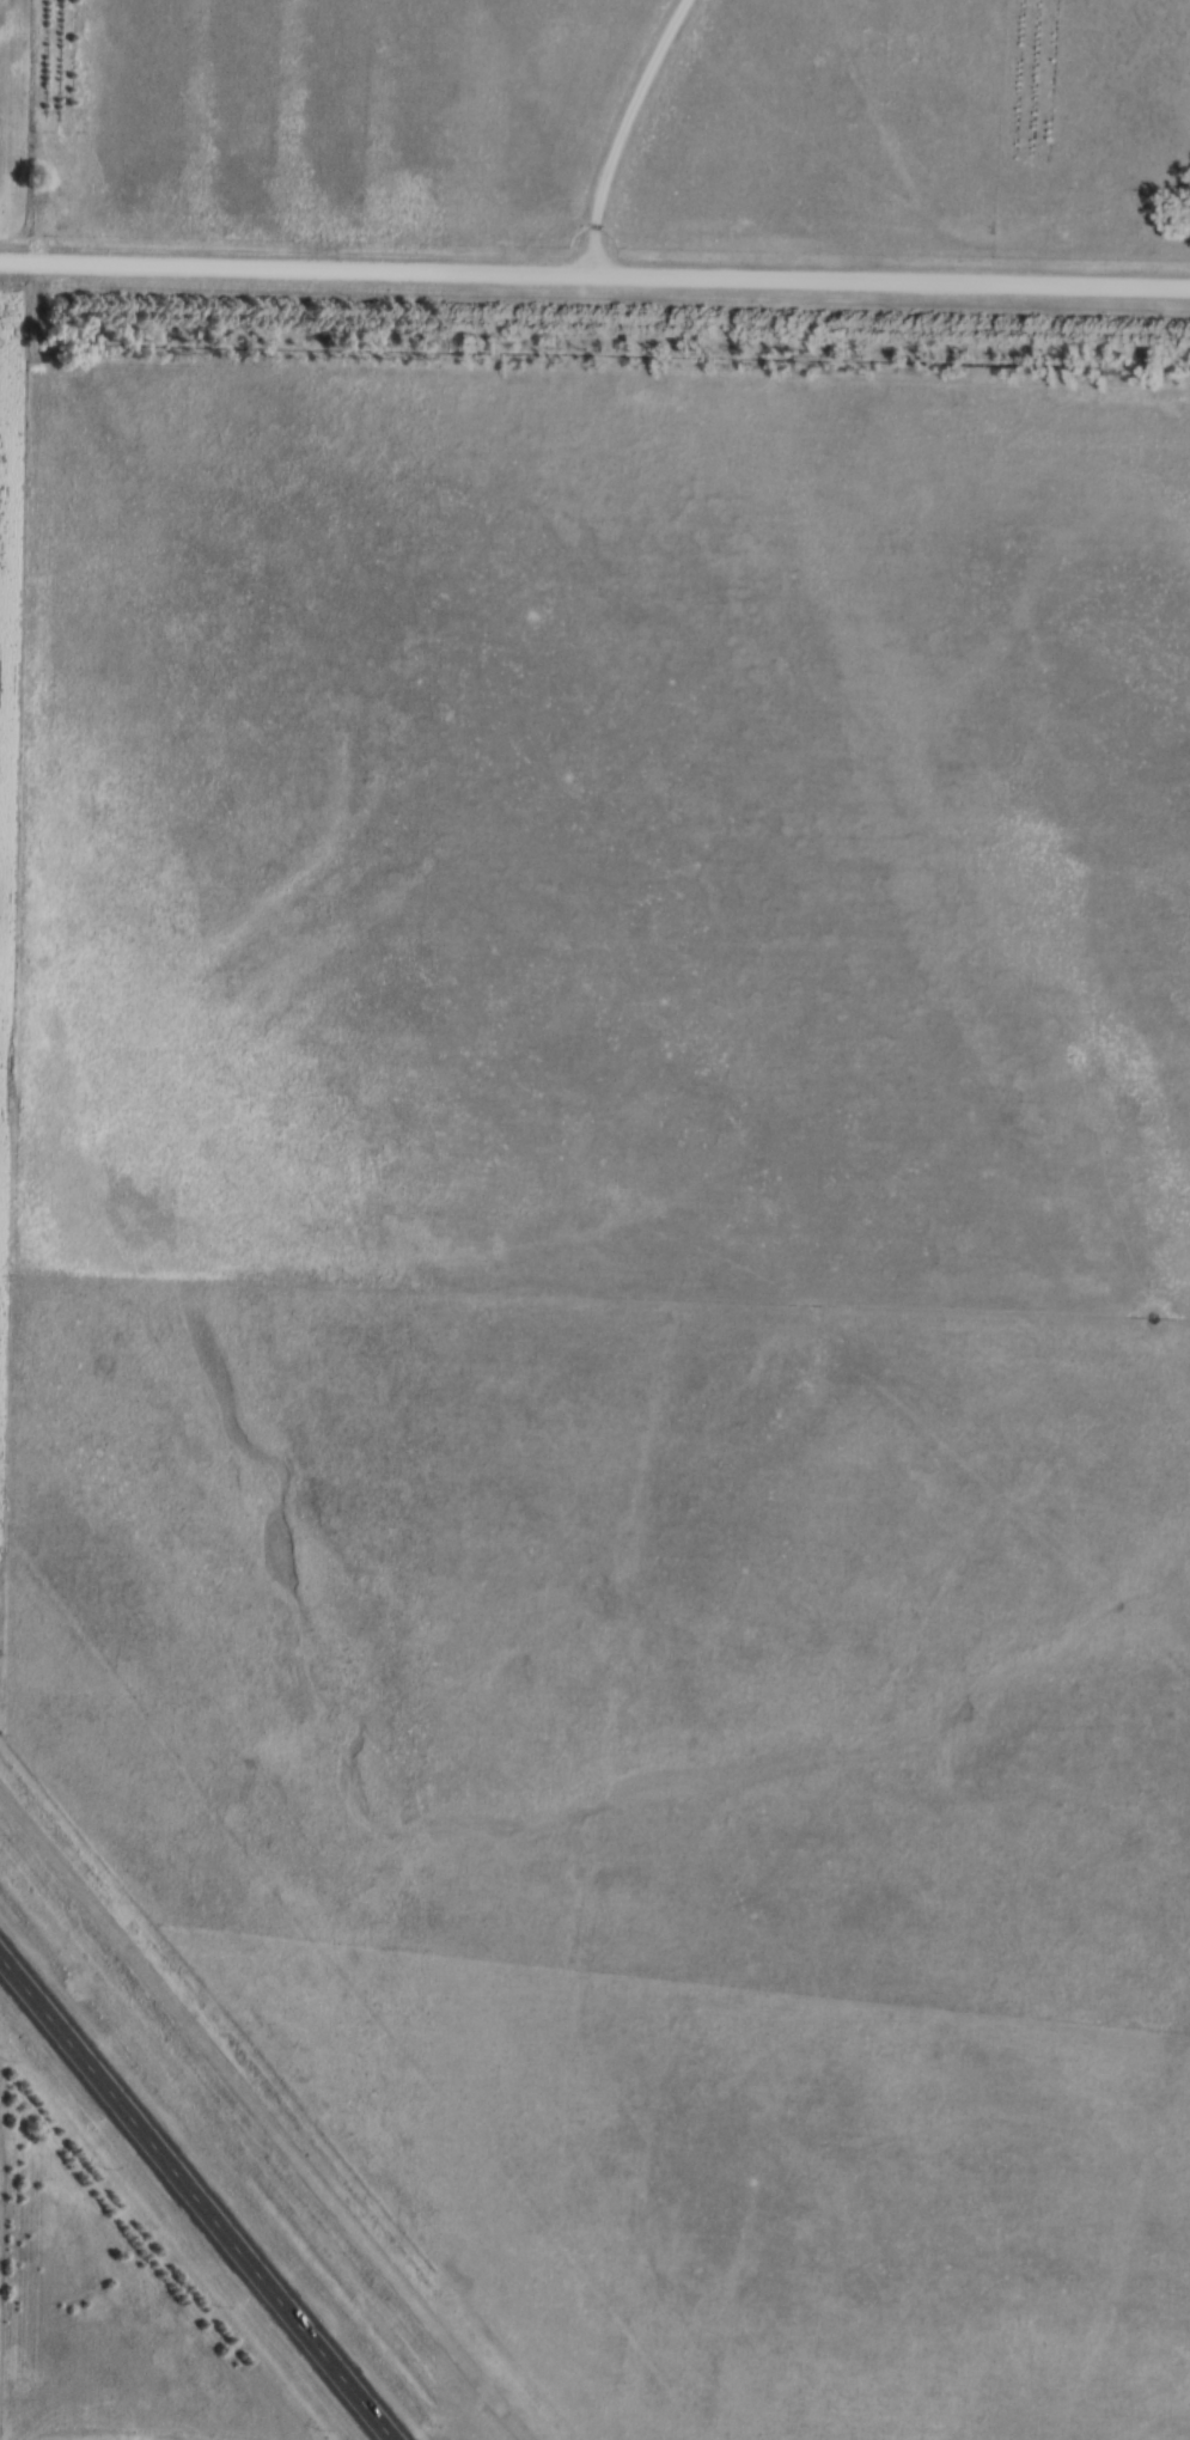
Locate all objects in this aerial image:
road: (616, 132)
road: (594, 276)
road: (267, 2111)
road: (197, 2196)

